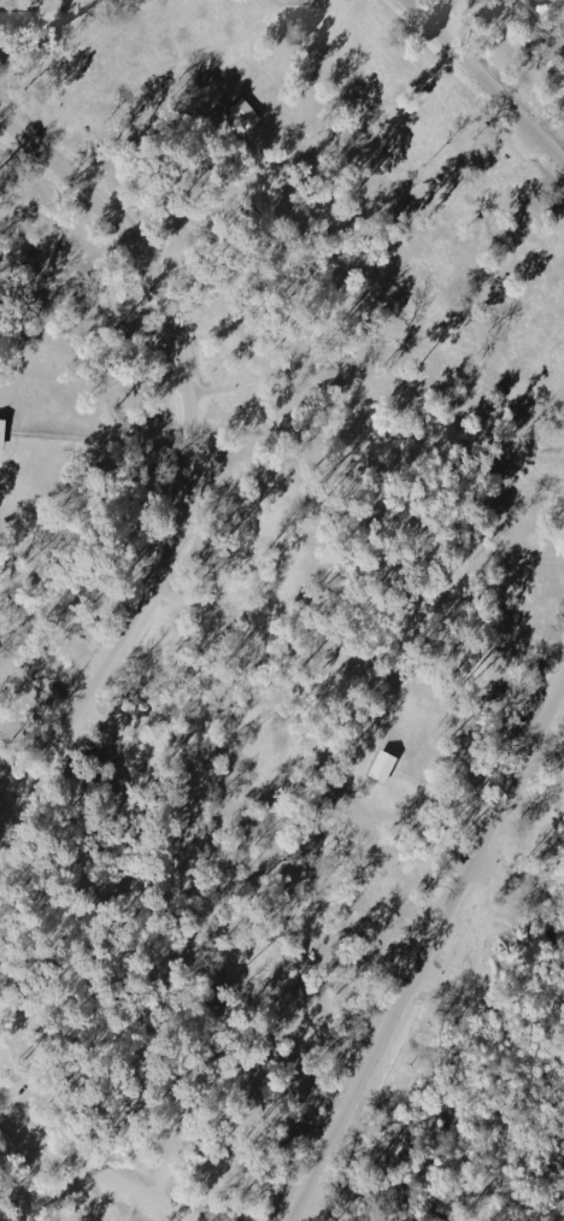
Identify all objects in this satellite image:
parking lot: (448, 18)
road: (486, 78)
building: (241, 112)
road: (46, 122)
parking lot: (523, 143)
road: (198, 160)
road: (75, 213)
road: (147, 222)
road: (198, 323)
road: (151, 333)
road: (163, 381)
road: (212, 387)
building: (0, 421)
road: (71, 439)
road: (169, 450)
road: (192, 472)
road: (207, 493)
road: (152, 526)
road: (2, 595)
road: (174, 595)
park: (282, 610)
road: (136, 663)
road: (58, 671)
road: (7, 673)
road: (40, 681)
parking lot: (529, 710)
road: (99, 724)
building: (377, 764)
road: (20, 771)
road: (69, 782)
road: (441, 796)
parking lot: (484, 799)
road: (7, 823)
parking lot: (487, 865)
road: (7, 874)
parking lot: (422, 921)
road: (429, 953)
parking lot: (429, 978)
road: (13, 1091)
parking lot: (322, 1121)
road: (95, 1169)
road: (159, 1176)
road: (80, 1187)
parking lot: (315, 1199)
road: (125, 1205)

